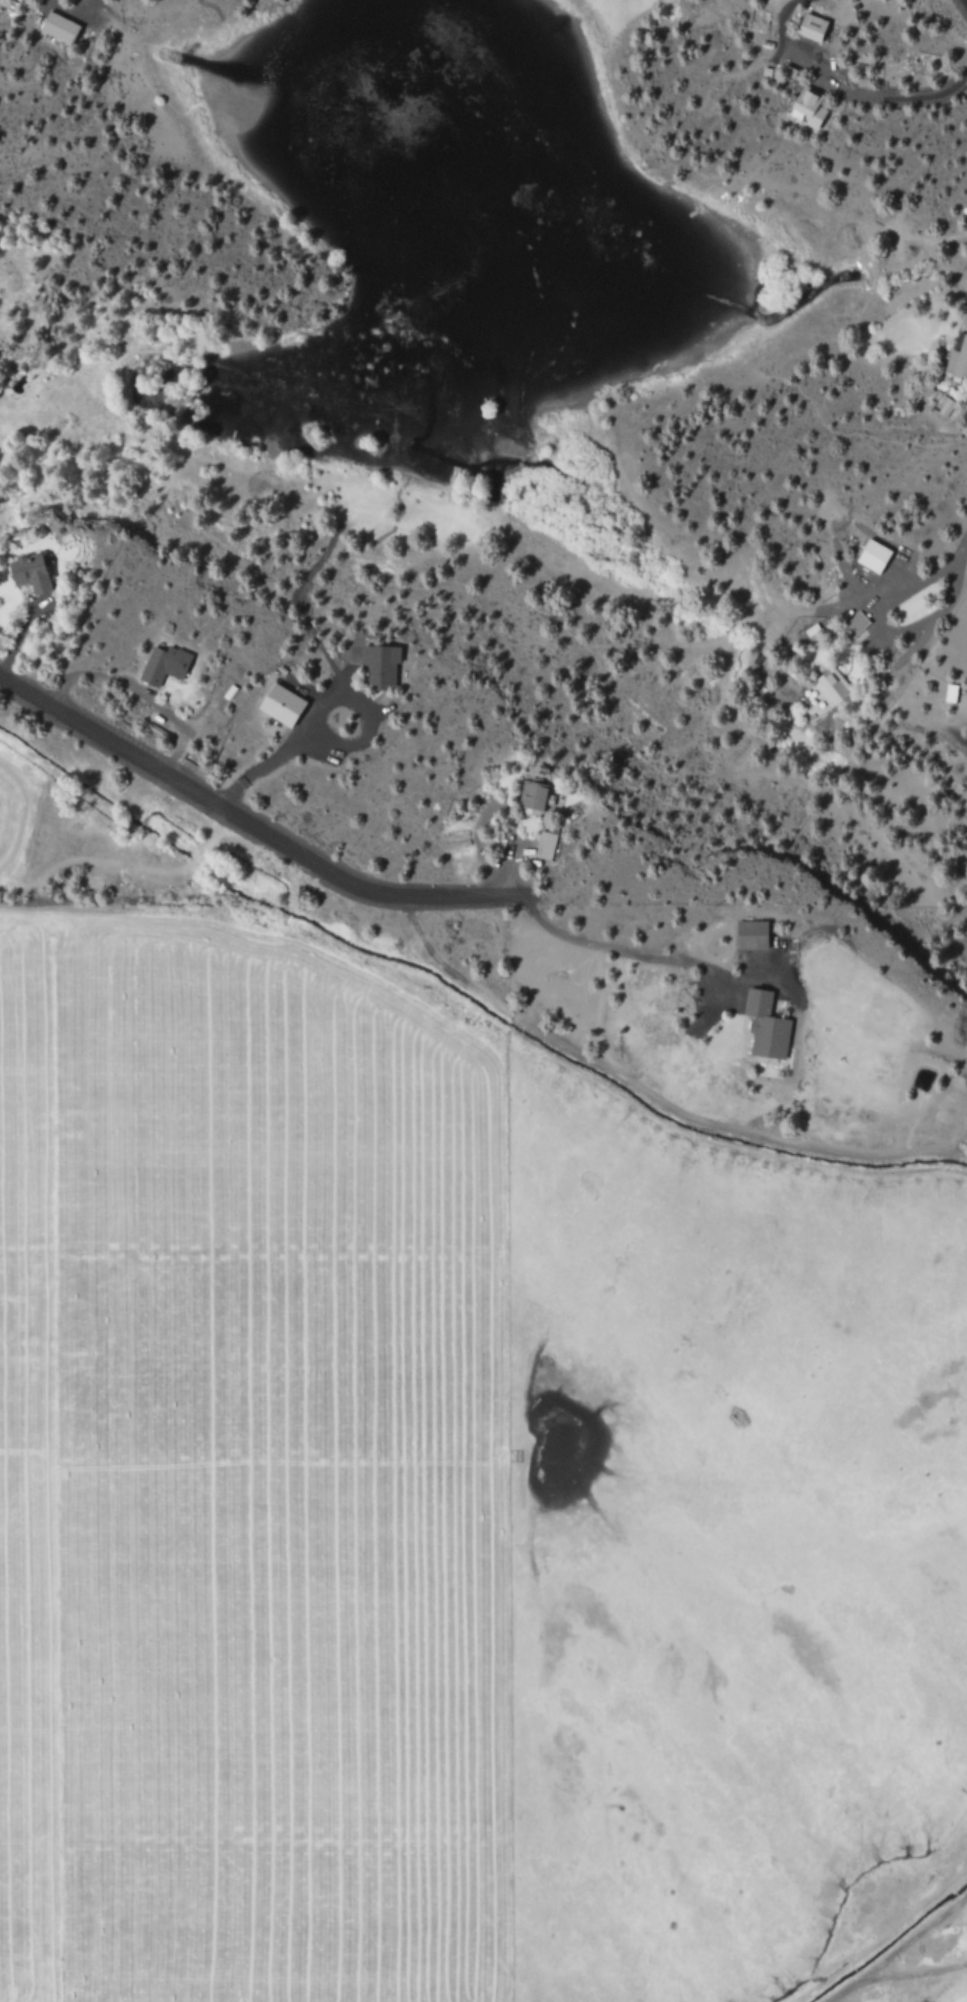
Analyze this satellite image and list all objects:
building: (810, 26)
building: (57, 27)
building: (806, 107)
building: (957, 360)
building: (925, 390)
building: (929, 403)
building: (945, 407)
building: (29, 572)
road: (946, 601)
building: (853, 625)
building: (162, 665)
building: (378, 665)
building: (830, 686)
building: (949, 693)
building: (279, 705)
building: (531, 796)
road: (253, 826)
building: (544, 843)
building: (750, 935)
road: (651, 959)
building: (693, 993)
building: (764, 1026)
building: (778, 1073)
road: (652, 1095)
crop: (444, 1516)

